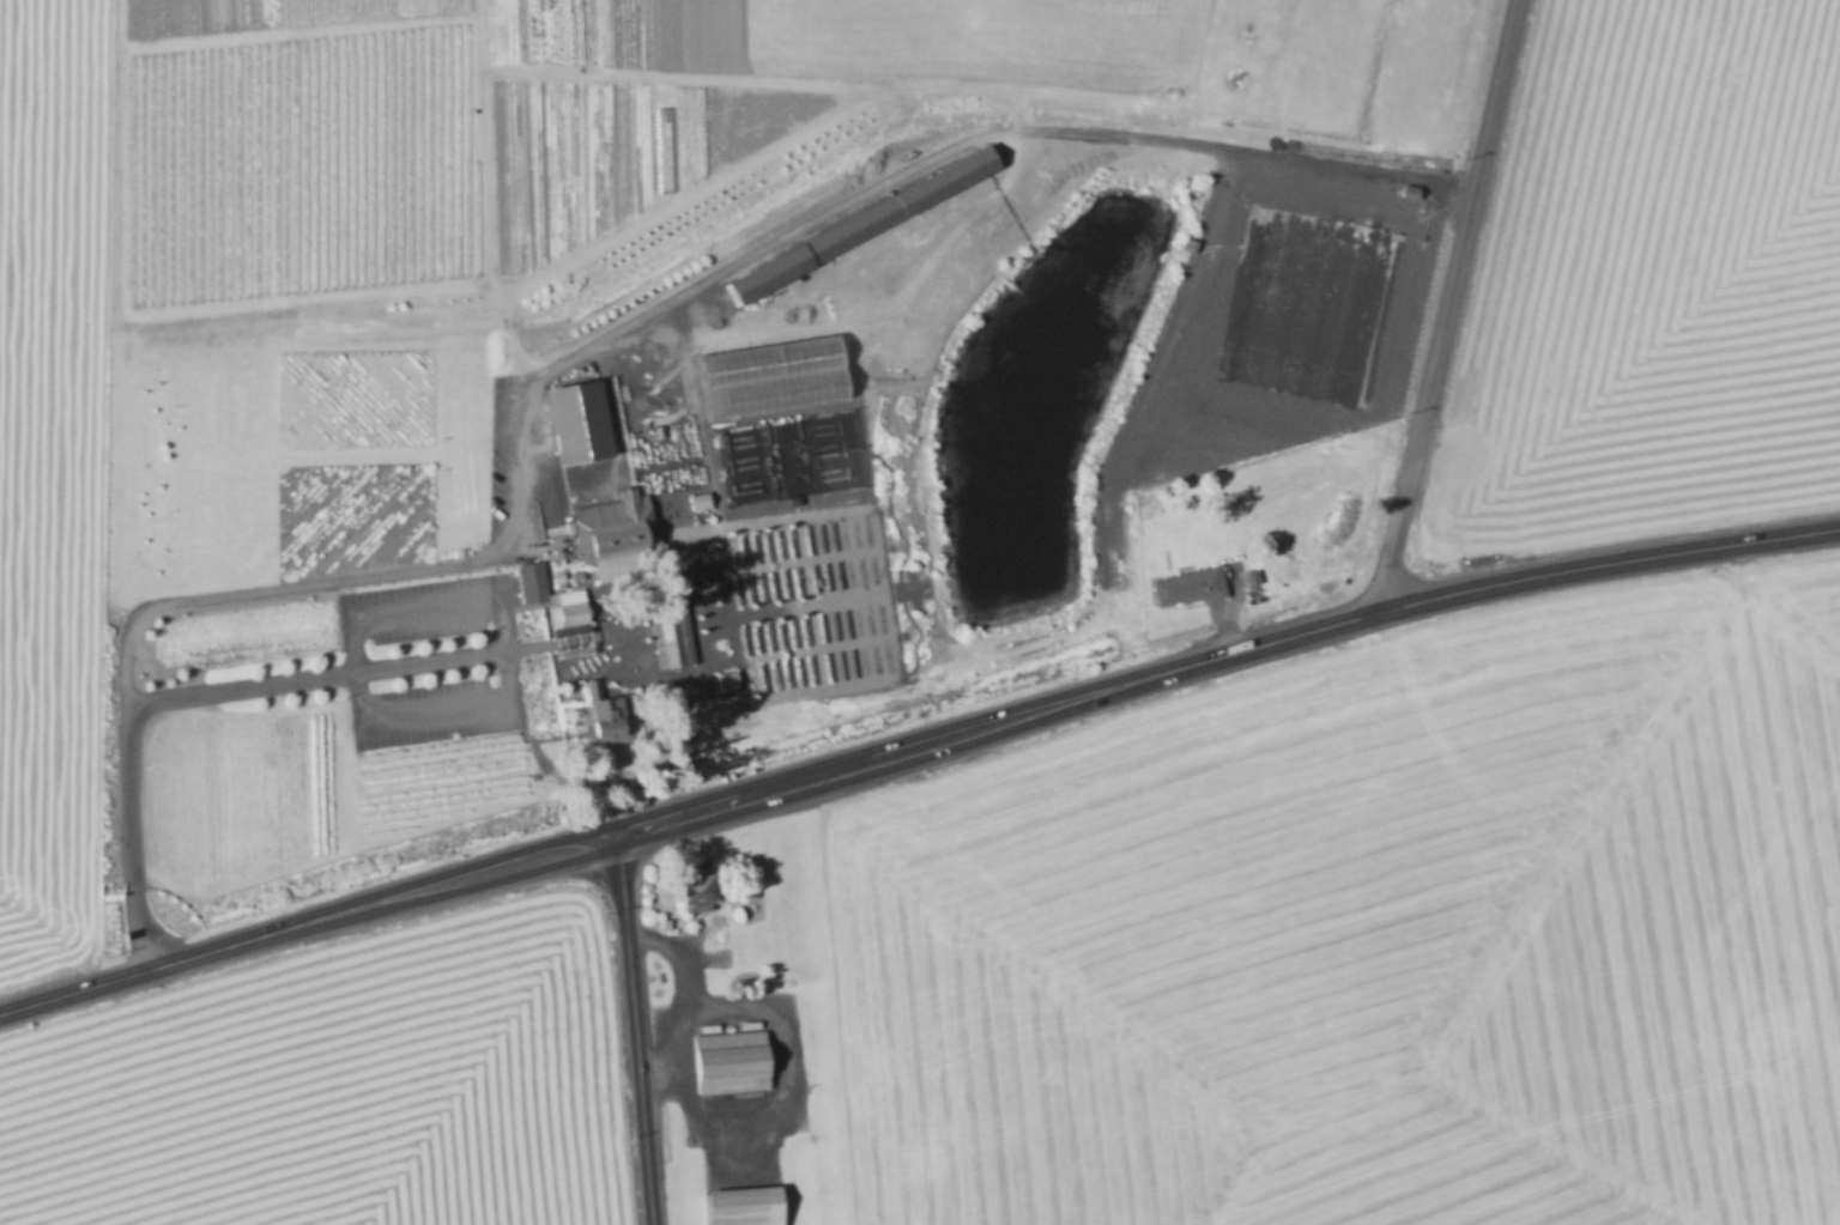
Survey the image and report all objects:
crop: (624, 138)
road: (964, 138)
road: (643, 148)
building: (661, 148)
road: (483, 201)
building: (858, 220)
road: (1454, 261)
crop: (1646, 286)
road: (113, 323)
building: (575, 420)
building: (697, 498)
building: (609, 540)
road: (1386, 566)
building: (1248, 577)
building: (1185, 586)
road: (213, 594)
building: (568, 614)
building: (658, 626)
parking lot: (426, 657)
building: (658, 666)
road: (356, 671)
road: (328, 672)
building: (725, 678)
building: (659, 686)
building: (589, 695)
building: (603, 728)
road: (914, 746)
building: (688, 890)
building: (662, 922)
crop: (1370, 944)
road: (635, 1029)
road: (659, 1054)
building: (725, 1061)
crop: (335, 1090)
building: (667, 1127)
road: (726, 1127)
road: (730, 1154)
building: (739, 1205)

